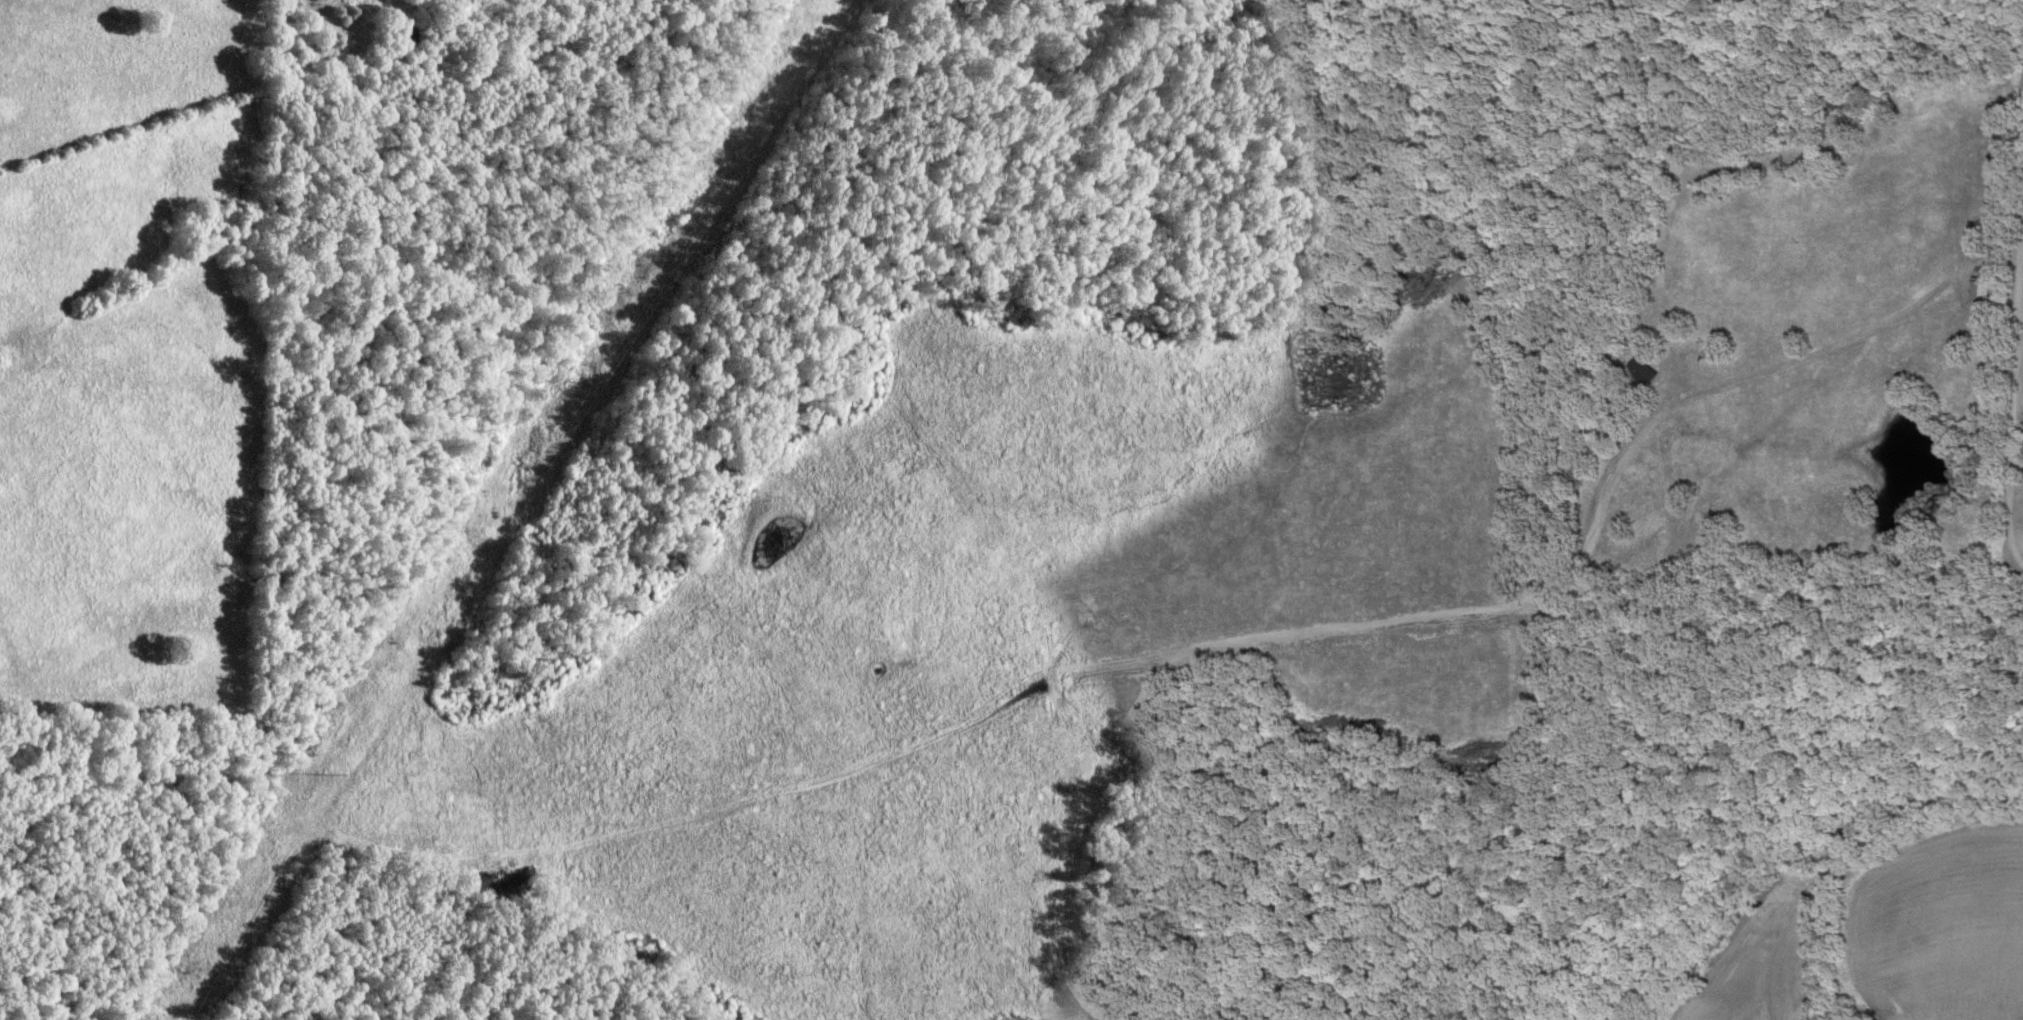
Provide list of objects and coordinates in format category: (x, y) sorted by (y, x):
building: (1976, 291)
building: (1638, 372)
road: (2016, 415)

